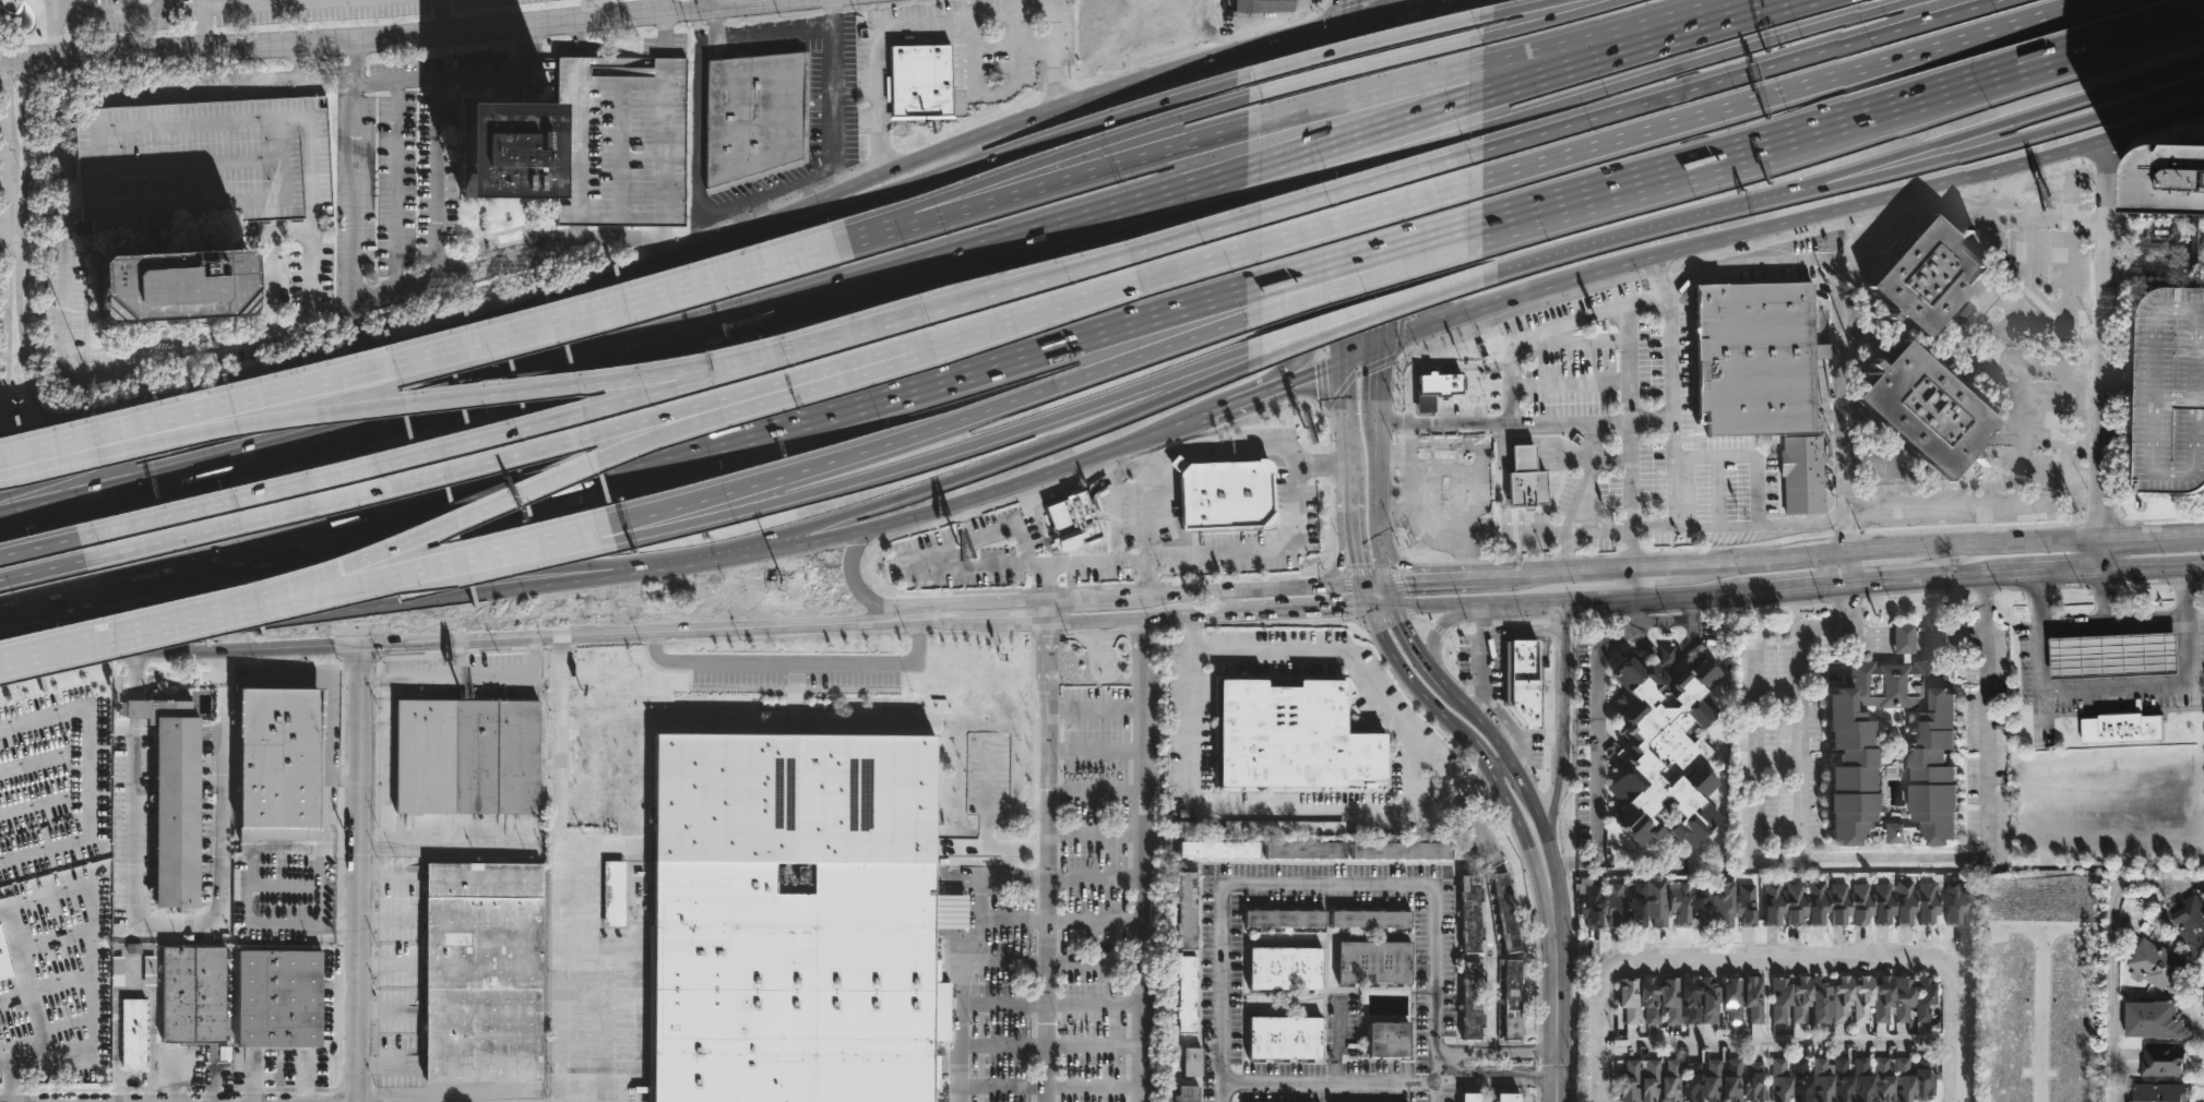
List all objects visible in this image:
traffic signals: (1421, 0)
road: (1385, 3)
road: (1404, 3)
road: (253, 4)
road: (1050, 4)
road: (700, 5)
building: (1263, 5)
road: (664, 7)
road: (1521, 7)
road: (111, 11)
road: (443, 17)
road: (1546, 21)
road: (942, 22)
road: (53, 26)
road: (199, 29)
road: (1691, 33)
road: (420, 36)
road: (774, 36)
road: (1373, 43)
traffic signals: (1386, 45)
road: (1693, 63)
road: (1179, 68)
road: (1365, 68)
road: (1528, 68)
road: (301, 70)
road: (1734, 77)
road: (1987, 79)
road: (397, 81)
building: (918, 81)
road: (1528, 83)
road: (1780, 92)
road: (993, 94)
road: (1365, 97)
building: (754, 117)
road: (2013, 119)
road: (1129, 132)
road: (1360, 135)
building: (618, 139)
parking garage: (618, 139)
road: (2015, 139)
building: (505, 148)
road: (1416, 153)
road: (993, 157)
building: (203, 164)
parking garage: (203, 164)
road: (1358, 164)
road: (1088, 173)
road: (1345, 180)
road: (853, 183)
road: (1367, 185)
road: (1625, 188)
building: (2173, 188)
road: (958, 200)
road: (740, 201)
road: (1856, 203)
road: (1961, 203)
road: (3, 207)
road: (1366, 215)
road: (1155, 221)
road: (1, 223)
road: (45, 223)
road: (65, 223)
road: (14, 224)
road: (1298, 224)
road: (1659, 225)
road: (884, 230)
road: (289, 232)
road: (558, 241)
road: (2156, 243)
road: (25, 244)
road: (987, 248)
road: (1370, 257)
road: (1106, 263)
road: (2156, 263)
road: (1714, 267)
road: (1380, 271)
road: (1370, 272)
road: (427, 273)
road: (741, 273)
road: (1664, 273)
building: (1923, 276)
building: (172, 287)
road: (1432, 291)
road: (896, 292)
road: (1098, 295)
road: (1969, 306)
road: (502, 318)
road: (1442, 322)
road: (903, 324)
road: (358, 326)
road: (1314, 327)
traffic signals: (1343, 330)
road: (1314, 335)
road: (2107, 336)
road: (1360, 355)
building: (1756, 358)
traffic signals: (1342, 362)
traffic signals: (1315, 372)
traffic signals: (1378, 373)
road: (315, 386)
building: (2171, 393)
parking lot: (2171, 393)
road: (427, 404)
road: (1672, 408)
road: (160, 409)
building: (1925, 411)
road: (1493, 422)
road: (365, 430)
road: (2062, 432)
road: (2023, 433)
road: (914, 435)
road: (27, 436)
road: (1631, 438)
road: (2063, 440)
road: (469, 444)
road: (135, 446)
road: (1345, 447)
building: (1443, 447)
road: (1106, 452)
road: (1022, 453)
road: (617, 455)
road: (511, 457)
road: (1320, 460)
road: (918, 462)
road: (1392, 462)
road: (633, 467)
building: (1802, 475)
building: (1525, 480)
building: (1223, 496)
road: (1953, 504)
road: (1145, 512)
building: (1070, 522)
road: (1442, 528)
road: (1657, 528)
road: (2191, 530)
road: (2141, 534)
road: (824, 536)
road: (2000, 540)
road: (40, 548)
road: (1872, 551)
road: (2104, 552)
road: (1279, 553)
road: (1566, 553)
road: (716, 558)
road: (1355, 559)
road: (1381, 559)
road: (1770, 559)
traffic signals: (1357, 565)
road: (1664, 566)
road: (436, 567)
road: (2154, 567)
road: (1338, 568)
road: (1848, 570)
road: (43, 571)
road: (1414, 571)
road: (1370, 572)
road: (1569, 572)
road: (2061, 572)
road: (1146, 577)
road: (1485, 578)
road: (1934, 580)
road: (1425, 582)
road: (1635, 582)
road: (1043, 583)
traffic signals: (1407, 583)
traffic signals: (1385, 584)
road: (1373, 585)
road: (1333, 586)
traffic signals: (1361, 586)
road: (858, 589)
road: (1801, 589)
road: (1694, 592)
road: (1174, 594)
road: (1403, 594)
road: (1387, 596)
road: (325, 597)
road: (1363, 597)
road: (1609, 597)
road: (2105, 597)
road: (1349, 599)
road: (1530, 600)
road: (979, 604)
road: (1433, 604)
road: (367, 608)
traffic signals: (1368, 608)
road: (1379, 608)
traffic signals: (1391, 608)
traffic signals: (1343, 609)
road: (1314, 610)
road: (1637, 610)
road: (1043, 613)
road: (917, 615)
road: (1385, 619)
road: (1152, 620)
road: (1430, 623)
road: (2111, 623)
road: (960, 624)
road: (1022, 624)
road: (153, 625)
road: (639, 631)
road: (1922, 635)
road: (1434, 638)
building: (1904, 639)
road: (223, 649)
road: (1417, 652)
building: (2111, 652)
gas station: (2111, 652)
road: (454, 659)
road: (1351, 661)
road: (43, 664)
road: (786, 666)
road: (464, 676)
road: (134, 678)
building: (1522, 681)
road: (1413, 684)
road: (1595, 687)
road: (2114, 690)
road: (135, 710)
road: (1564, 716)
road: (1485, 723)
building: (2121, 727)
building: (1290, 736)
parking lot: (1778, 743)
parking lot: (1987, 747)
road: (1754, 751)
building: (1854, 751)
building: (1665, 752)
building: (465, 757)
road: (1485, 760)
building: (279, 763)
road: (1503, 767)
road: (1521, 774)
road: (86, 775)
road: (345, 777)
building: (11, 796)
building: (789, 796)
building: (174, 801)
road: (1254, 812)
building: (1286, 827)
building: (1479, 837)
road: (444, 845)
road: (1528, 847)
building: (1399, 850)
building: (1217, 851)
building: (1303, 851)
road: (1553, 852)
road: (1868, 858)
road: (1143, 861)
road: (1041, 862)
road: (558, 867)
road: (360, 873)
road: (1329, 884)
road: (318, 891)
building: (615, 894)
building: (1955, 901)
building: (1656, 902)
building: (1906, 902)
building: (1679, 903)
building: (1724, 903)
building: (1772, 903)
building: (1819, 903)
building: (1613, 905)
building: (1840, 905)
building: (1884, 905)
building: (1928, 905)
building: (1746, 906)
building: (1796, 906)
building: (1861, 906)
building: (1635, 907)
building: (1591, 908)
building: (1702, 908)
building: (1186, 911)
building: (1504, 912)
building: (1469, 914)
building: (1283, 920)
building: (1370, 920)
road: (209, 922)
building: (2185, 922)
road: (338, 925)
road: (2111, 943)
building: (4, 957)
road: (1767, 958)
building: (1373, 963)
building: (2157, 966)
road: (88, 967)
building: (1284, 970)
building: (117, 972)
building: (147, 972)
building: (479, 973)
building: (795, 980)
road: (967, 981)
building: (1184, 995)
building: (191, 996)
building: (1904, 998)
building: (1779, 999)
building: (1801, 999)
building: (1843, 999)
building: (1862, 999)
building: (1923, 999)
building: (275, 1001)
building: (1671, 1001)
building: (1691, 1001)
building: (1732, 1001)
building: (1752, 1001)
building: (1884, 1001)
building: (1470, 1002)
building: (1511, 1002)
building: (1631, 1002)
building: (1651, 1002)
building: (1709, 1002)
building: (1822, 1002)
road: (1558, 1011)
building: (45, 1014)
road: (1956, 1019)
building: (2156, 1021)
road: (1601, 1030)
building: (132, 1033)
building: (1284, 1040)
building: (1380, 1041)
road: (1778, 1041)
road: (1336, 1042)
building: (2006, 1043)
road: (1497, 1052)
building: (2163, 1061)
building: (1191, 1063)
building: (2075, 1069)
road: (1497, 1075)
road: (9, 1079)
building: (1776, 1080)
building: (1818, 1080)
building: (1859, 1080)
building: (1880, 1080)
building: (1901, 1080)
building: (1919, 1080)
building: (1631, 1081)
building: (1798, 1081)
building: (1838, 1081)
building: (1651, 1082)
building: (1671, 1082)
building: (1712, 1082)
building: (1732, 1082)
building: (1753, 1082)
road: (1327, 1083)
building: (1692, 1085)
building: (2159, 1092)
building: (1186, 1095)
building: (1469, 1098)
building: (1506, 1099)

